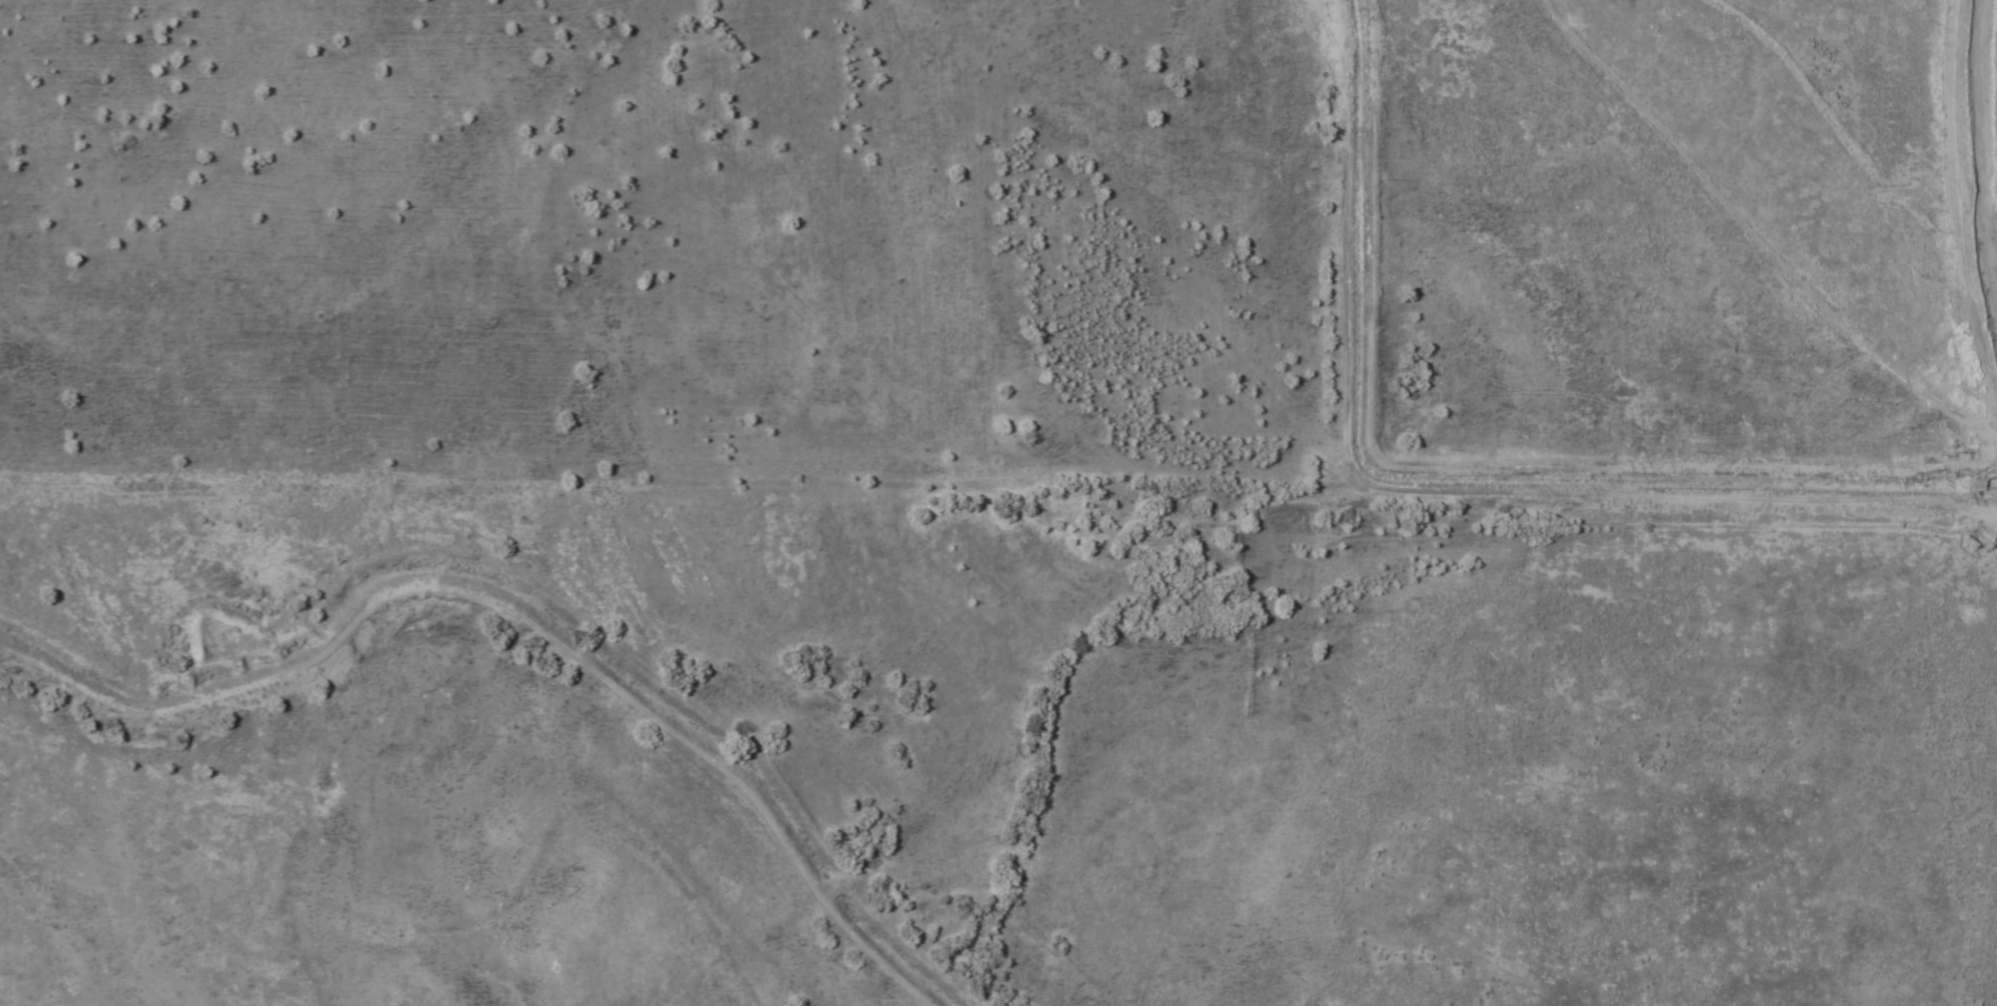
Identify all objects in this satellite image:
road: (1919, 249)

